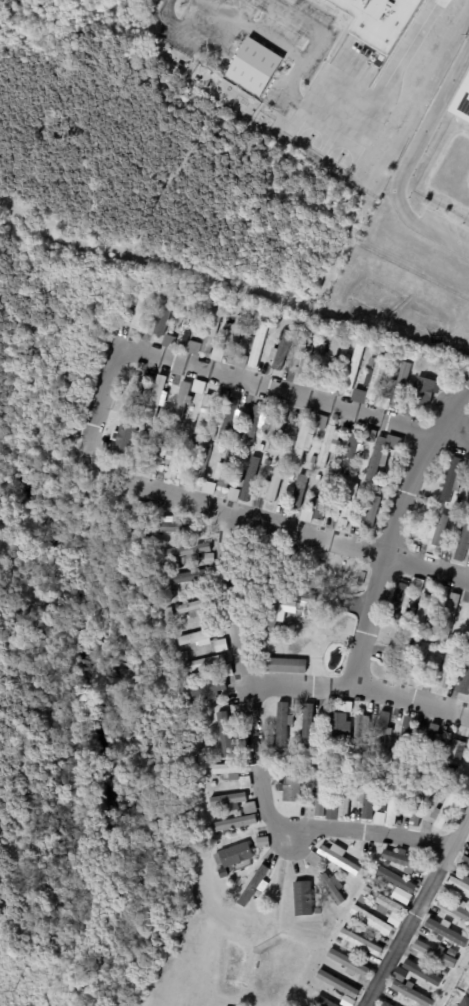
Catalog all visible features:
building: (379, 21)
building: (253, 67)
building: (461, 101)
road: (328, 117)
road: (407, 163)
building: (161, 286)
building: (242, 311)
building: (138, 313)
building: (162, 313)
building: (185, 323)
building: (210, 331)
building: (301, 336)
building: (231, 338)
building: (168, 340)
building: (256, 346)
building: (325, 347)
building: (192, 348)
building: (280, 351)
building: (216, 354)
building: (305, 356)
building: (347, 358)
building: (330, 360)
building: (351, 370)
building: (394, 374)
building: (420, 375)
building: (375, 379)
building: (398, 386)
building: (130, 392)
building: (425, 393)
building: (358, 396)
building: (156, 398)
building: (180, 405)
road: (453, 412)
building: (202, 415)
building: (229, 416)
road: (93, 418)
building: (319, 422)
building: (186, 426)
building: (253, 427)
building: (277, 432)
building: (123, 438)
building: (219, 439)
building: (302, 442)
building: (194, 443)
building: (327, 447)
building: (259, 448)
building: (152, 452)
building: (350, 455)
building: (244, 456)
building: (381, 456)
building: (175, 457)
building: (312, 460)
building: (466, 463)
building: (200, 466)
building: (227, 468)
building: (290, 477)
building: (316, 478)
building: (248, 480)
building: (452, 480)
building: (272, 486)
building: (207, 487)
building: (298, 492)
building: (368, 493)
building: (232, 494)
building: (323, 498)
building: (458, 500)
building: (348, 506)
building: (427, 506)
building: (141, 507)
building: (373, 511)
building: (305, 516)
building: (172, 527)
building: (438, 531)
building: (463, 543)
building: (186, 552)
building: (291, 553)
road: (387, 556)
building: (206, 561)
building: (182, 562)
building: (187, 578)
building: (360, 579)
building: (416, 585)
building: (442, 591)
building: (172, 592)
building: (399, 600)
building: (291, 608)
building: (189, 609)
building: (422, 612)
building: (165, 614)
building: (449, 615)
building: (468, 633)
building: (197, 638)
building: (219, 646)
building: (395, 652)
building: (180, 655)
building: (203, 664)
building: (286, 667)
building: (225, 671)
building: (446, 671)
building: (462, 680)
road: (297, 685)
building: (207, 689)
building: (189, 701)
road: (409, 703)
building: (206, 704)
building: (346, 707)
building: (393, 715)
building: (281, 726)
building: (307, 727)
building: (338, 730)
building: (358, 732)
building: (381, 733)
building: (224, 734)
building: (406, 738)
building: (318, 739)
building: (431, 746)
building: (456, 752)
building: (340, 758)
road: (258, 759)
building: (362, 760)
building: (312, 764)
building: (284, 765)
building: (290, 766)
building: (452, 769)
building: (229, 770)
building: (383, 777)
building: (226, 778)
building: (441, 782)
building: (290, 788)
building: (320, 795)
building: (367, 796)
building: (228, 800)
building: (344, 801)
building: (392, 802)
building: (248, 808)
building: (214, 810)
building: (417, 810)
building: (444, 812)
building: (330, 813)
building: (378, 819)
building: (232, 824)
building: (260, 843)
building: (233, 855)
building: (312, 859)
building: (339, 860)
building: (464, 861)
building: (404, 862)
building: (387, 864)
building: (455, 870)
building: (371, 879)
building: (394, 880)
building: (370, 884)
building: (460, 885)
building: (253, 887)
building: (332, 888)
building: (444, 892)
building: (258, 893)
building: (302, 898)
building: (360, 899)
building: (385, 906)
road: (417, 909)
building: (454, 909)
building: (317, 912)
building: (353, 918)
building: (371, 920)
building: (462, 931)
building: (446, 932)
building: (338, 941)
building: (360, 942)
building: (435, 951)
building: (348, 963)
building: (423, 973)
building: (441, 973)
building: (398, 974)
building: (337, 984)
building: (468, 989)
building: (411, 993)
building: (317, 999)
building: (464, 1002)
building: (395, 1003)

